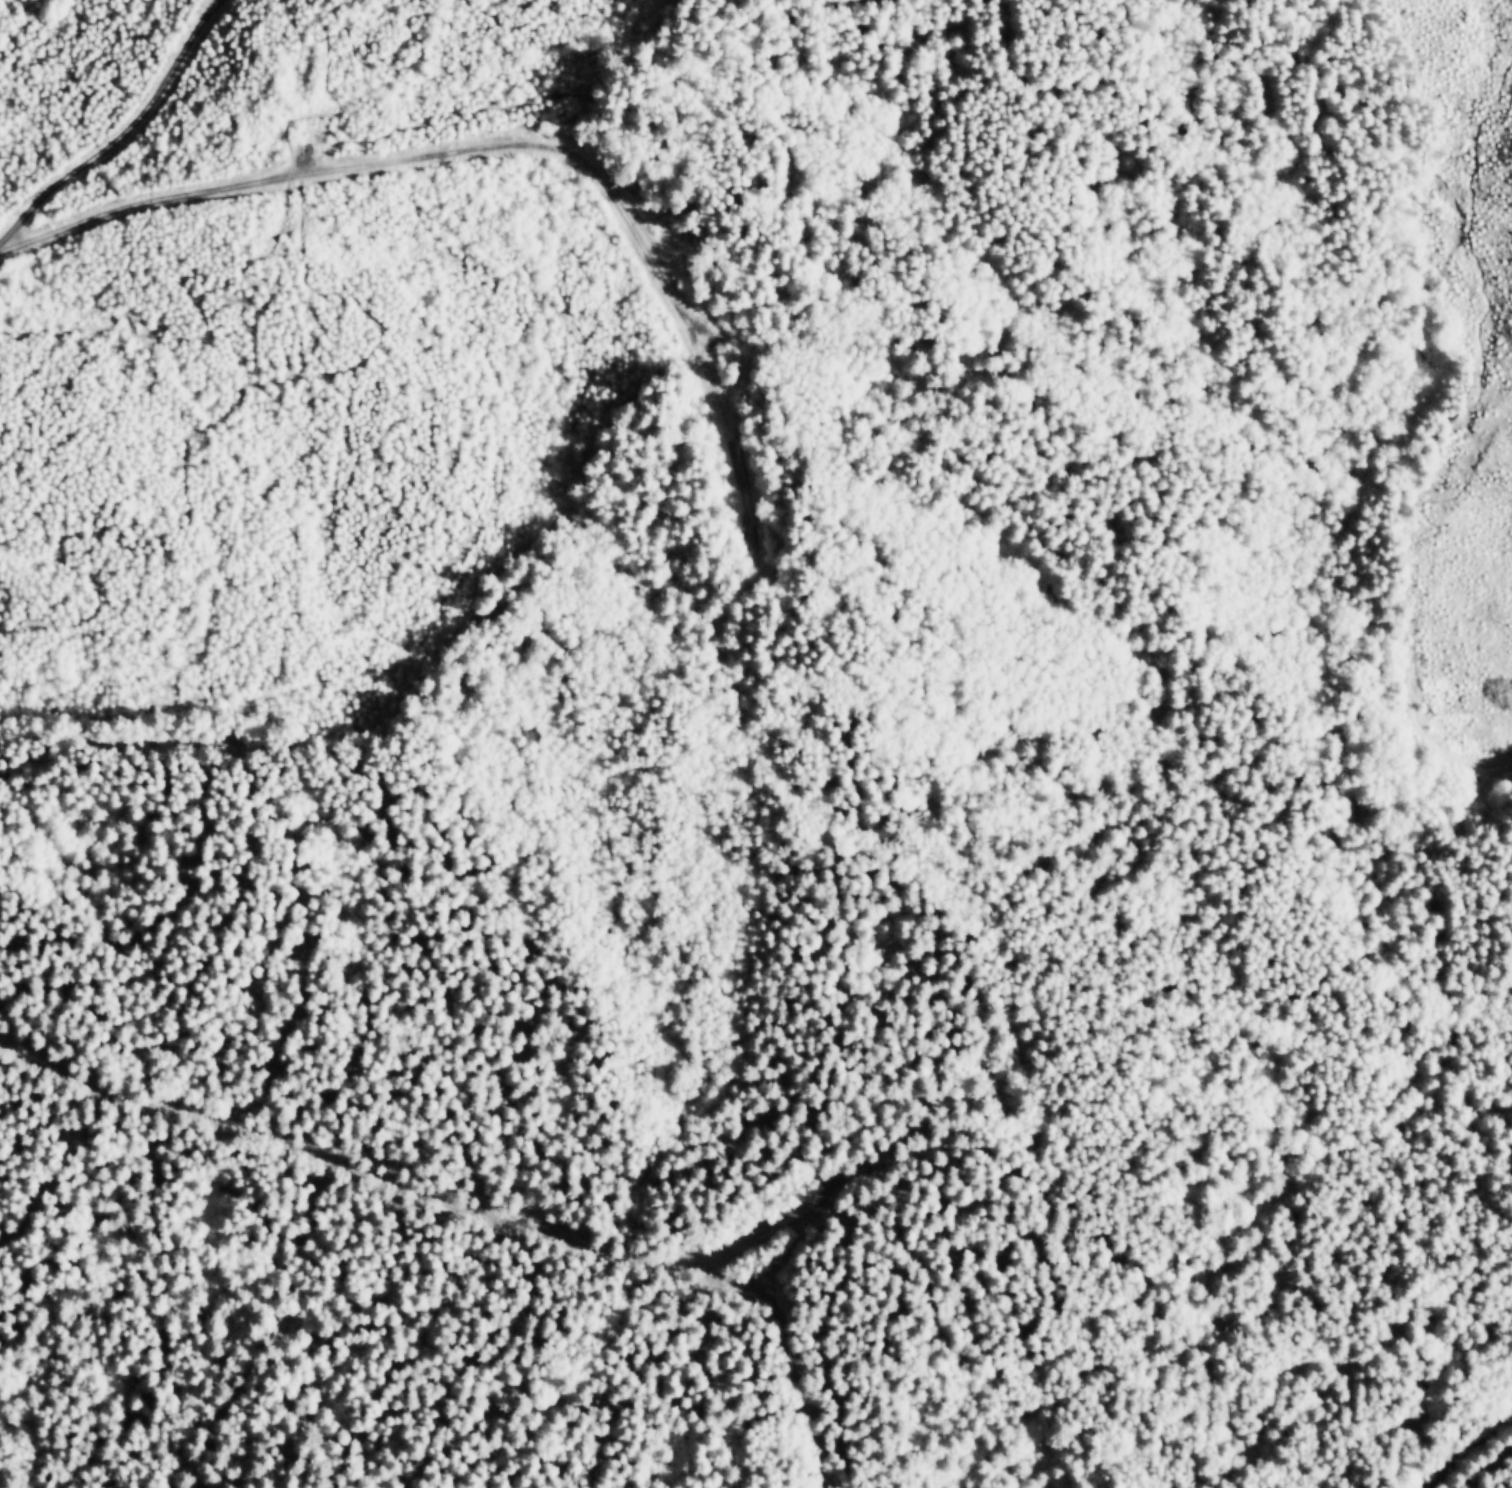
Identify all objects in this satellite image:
road: (504, 13)
road: (570, 87)
road: (120, 131)
road: (505, 143)
road: (280, 212)
road: (1490, 394)
road: (198, 441)
road: (1029, 474)
road: (1432, 750)
road: (1371, 1086)
road: (1476, 1457)

